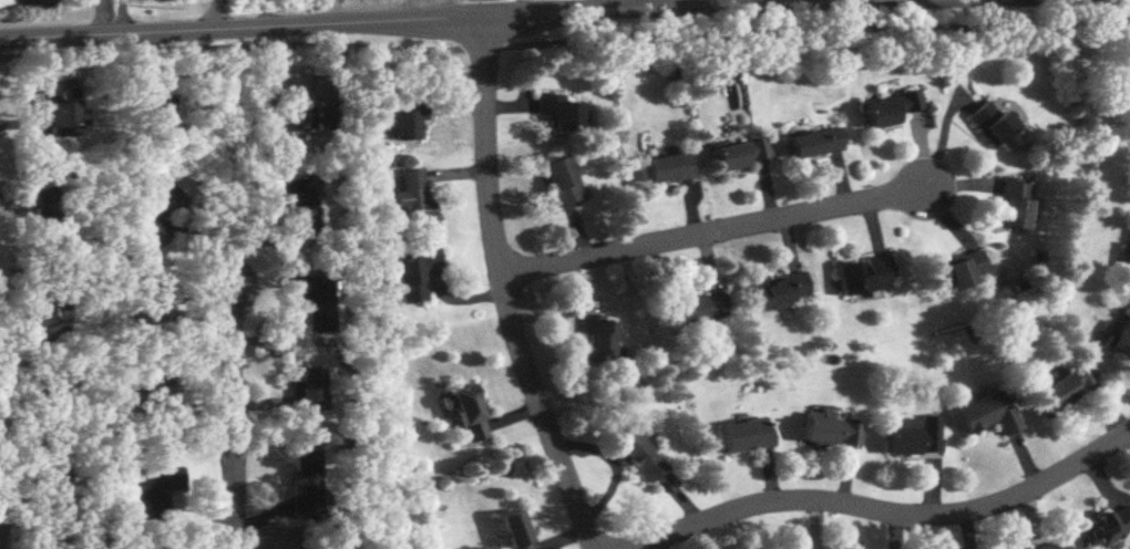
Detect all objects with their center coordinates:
road: (812, 1)
road: (623, 4)
road: (486, 8)
road: (332, 11)
road: (214, 14)
road: (121, 17)
road: (462, 17)
road: (564, 40)
building: (154, 106)
building: (890, 107)
building: (567, 111)
building: (321, 113)
building: (408, 123)
building: (994, 124)
building: (815, 142)
building: (743, 153)
building: (670, 167)
building: (564, 179)
building: (415, 196)
building: (301, 203)
building: (1014, 203)
building: (158, 210)
road: (711, 230)
building: (957, 271)
building: (415, 273)
building: (864, 274)
road: (505, 288)
building: (780, 288)
building: (145, 304)
building: (698, 307)
building: (322, 315)
building: (600, 342)
building: (1121, 342)
building: (1067, 386)
building: (308, 391)
road: (236, 403)
building: (986, 413)
building: (470, 414)
building: (832, 432)
building: (746, 435)
building: (916, 438)
building: (639, 456)
road: (609, 466)
building: (156, 479)
building: (309, 485)
road: (885, 511)
building: (1109, 527)
building: (514, 531)
building: (1050, 548)

